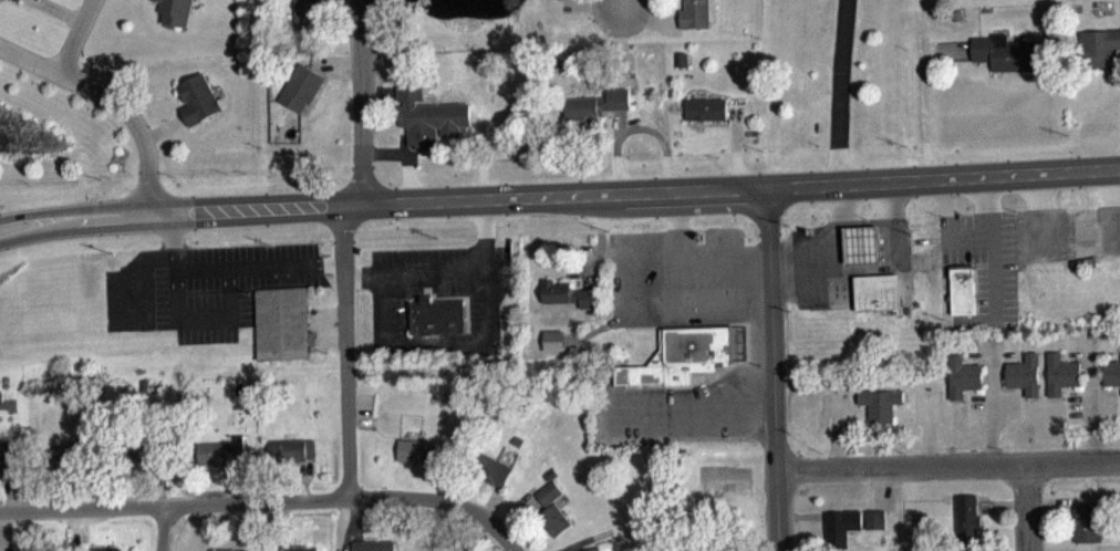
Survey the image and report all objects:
building: (22, 0)
building: (299, 0)
road: (623, 3)
building: (174, 11)
building: (697, 13)
road: (72, 35)
building: (1093, 44)
building: (993, 51)
building: (302, 86)
road: (839, 90)
road: (112, 97)
building: (195, 98)
road: (360, 101)
building: (600, 104)
building: (702, 107)
building: (433, 115)
road: (729, 186)
road: (200, 209)
road: (31, 214)
road: (32, 230)
building: (851, 243)
building: (957, 289)
building: (867, 290)
building: (559, 293)
building: (428, 315)
building: (284, 323)
road: (345, 350)
building: (673, 355)
road: (772, 367)
building: (1110, 371)
building: (1054, 372)
building: (1018, 373)
building: (956, 375)
building: (872, 402)
road: (1090, 403)
building: (291, 446)
building: (404, 449)
building: (228, 454)
road: (947, 466)
building: (486, 469)
road: (267, 501)
building: (547, 507)
road: (1027, 507)
building: (962, 518)
building: (1082, 520)
building: (834, 526)
road: (164, 528)
building: (369, 545)
building: (292, 547)
building: (228, 548)
building: (455, 548)
building: (599, 548)
building: (111, 549)

